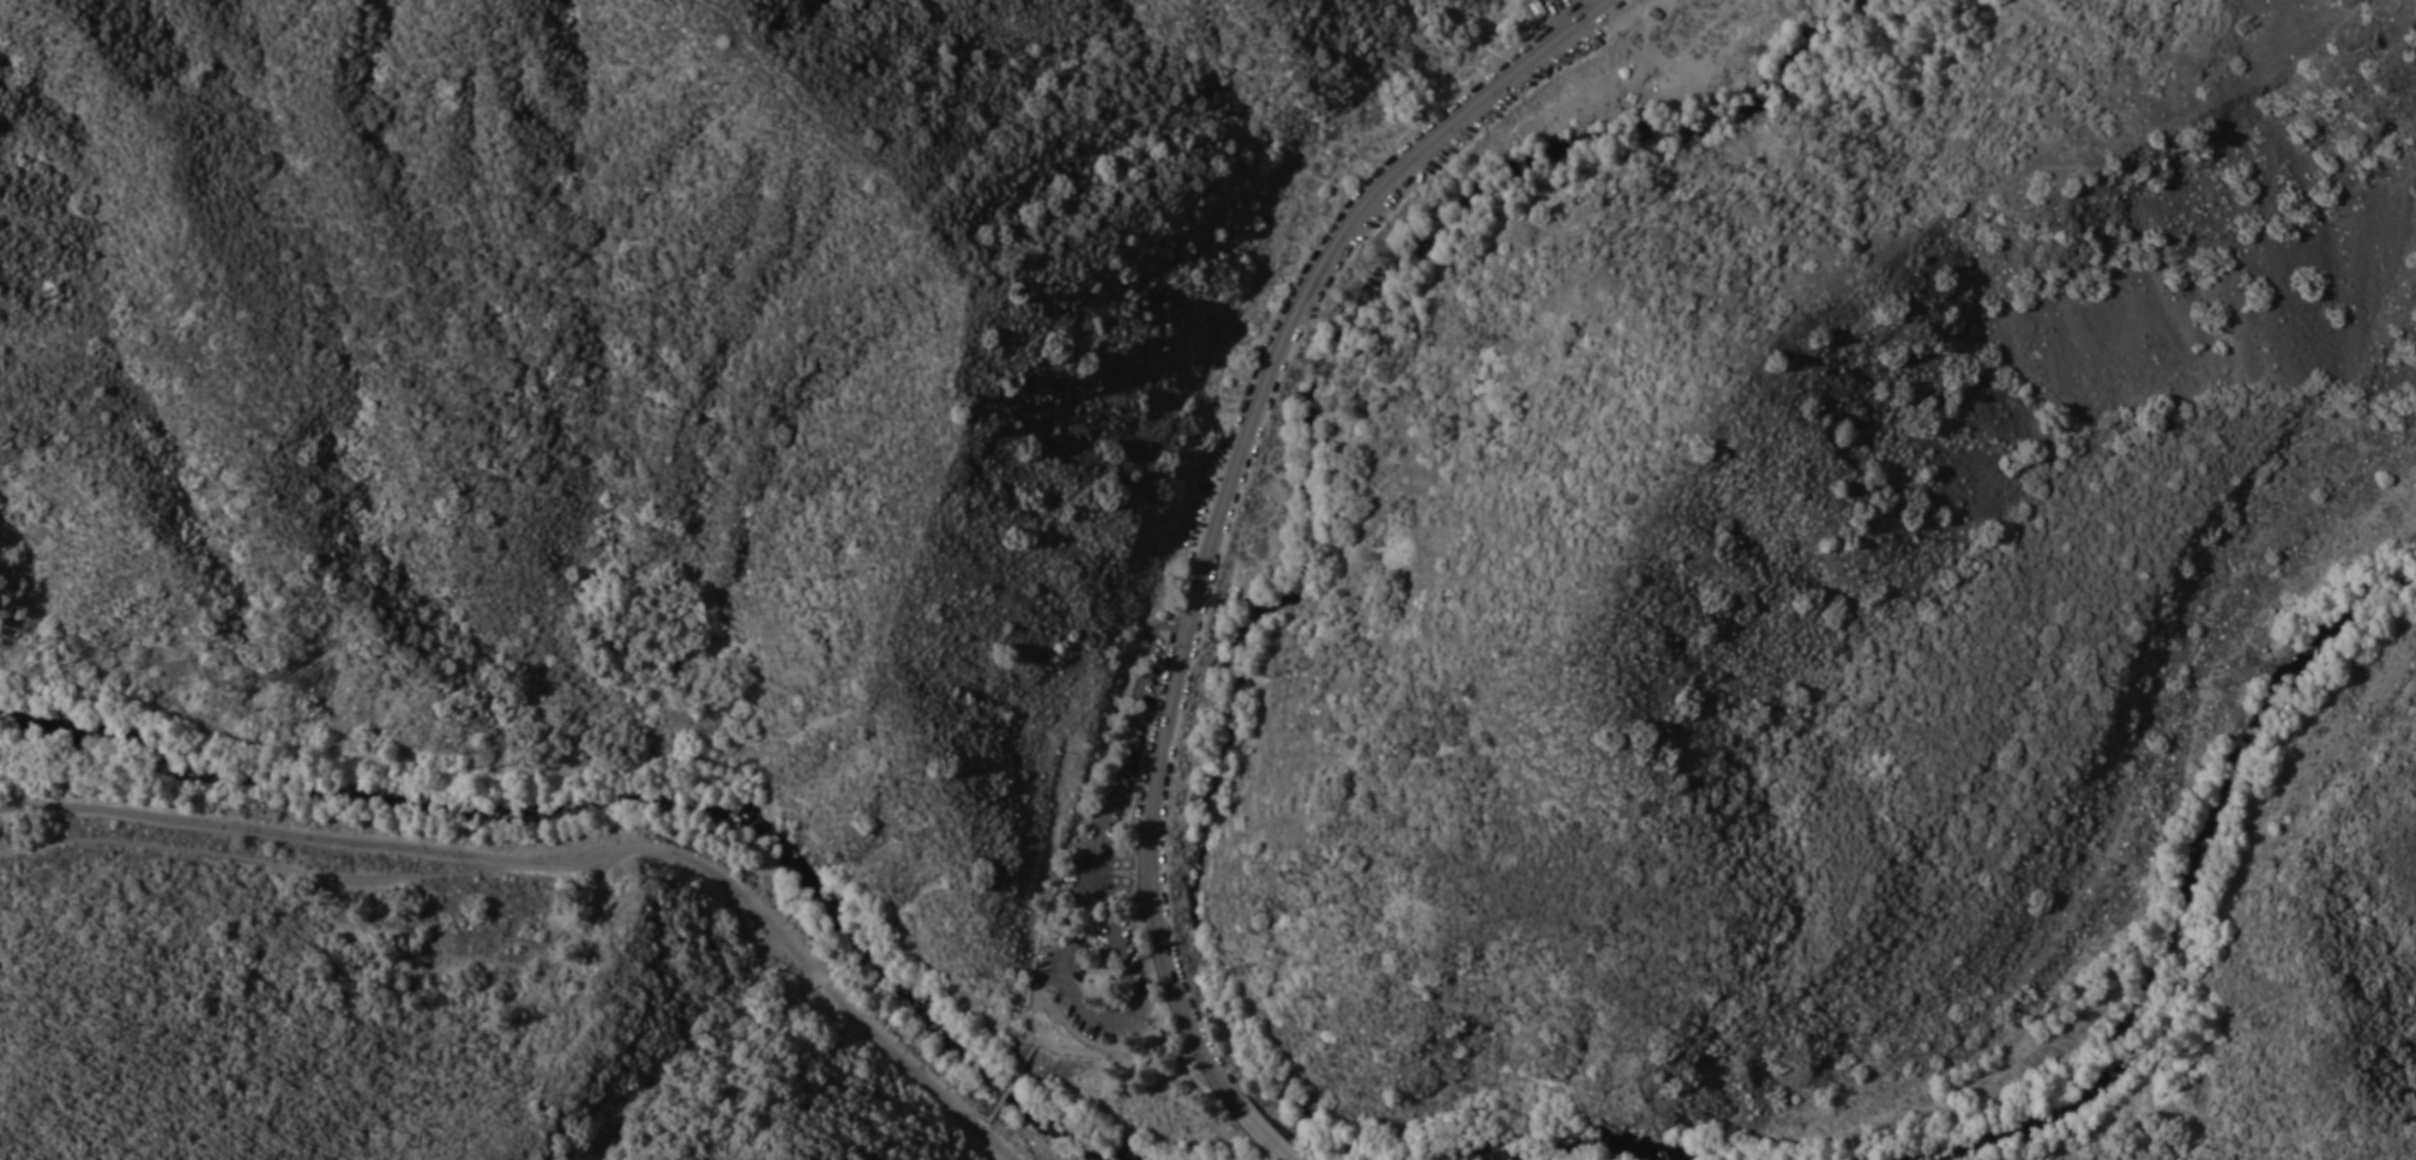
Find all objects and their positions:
river: (1318, 440)
road: (1216, 503)
road: (1122, 737)
river: (628, 800)
road: (246, 857)
road: (565, 860)
road: (1120, 863)
parking lot: (1105, 881)
road: (1127, 886)
road: (1103, 1017)
road: (1076, 1035)
river: (2097, 1059)
road: (1004, 1088)
road: (1269, 1141)

